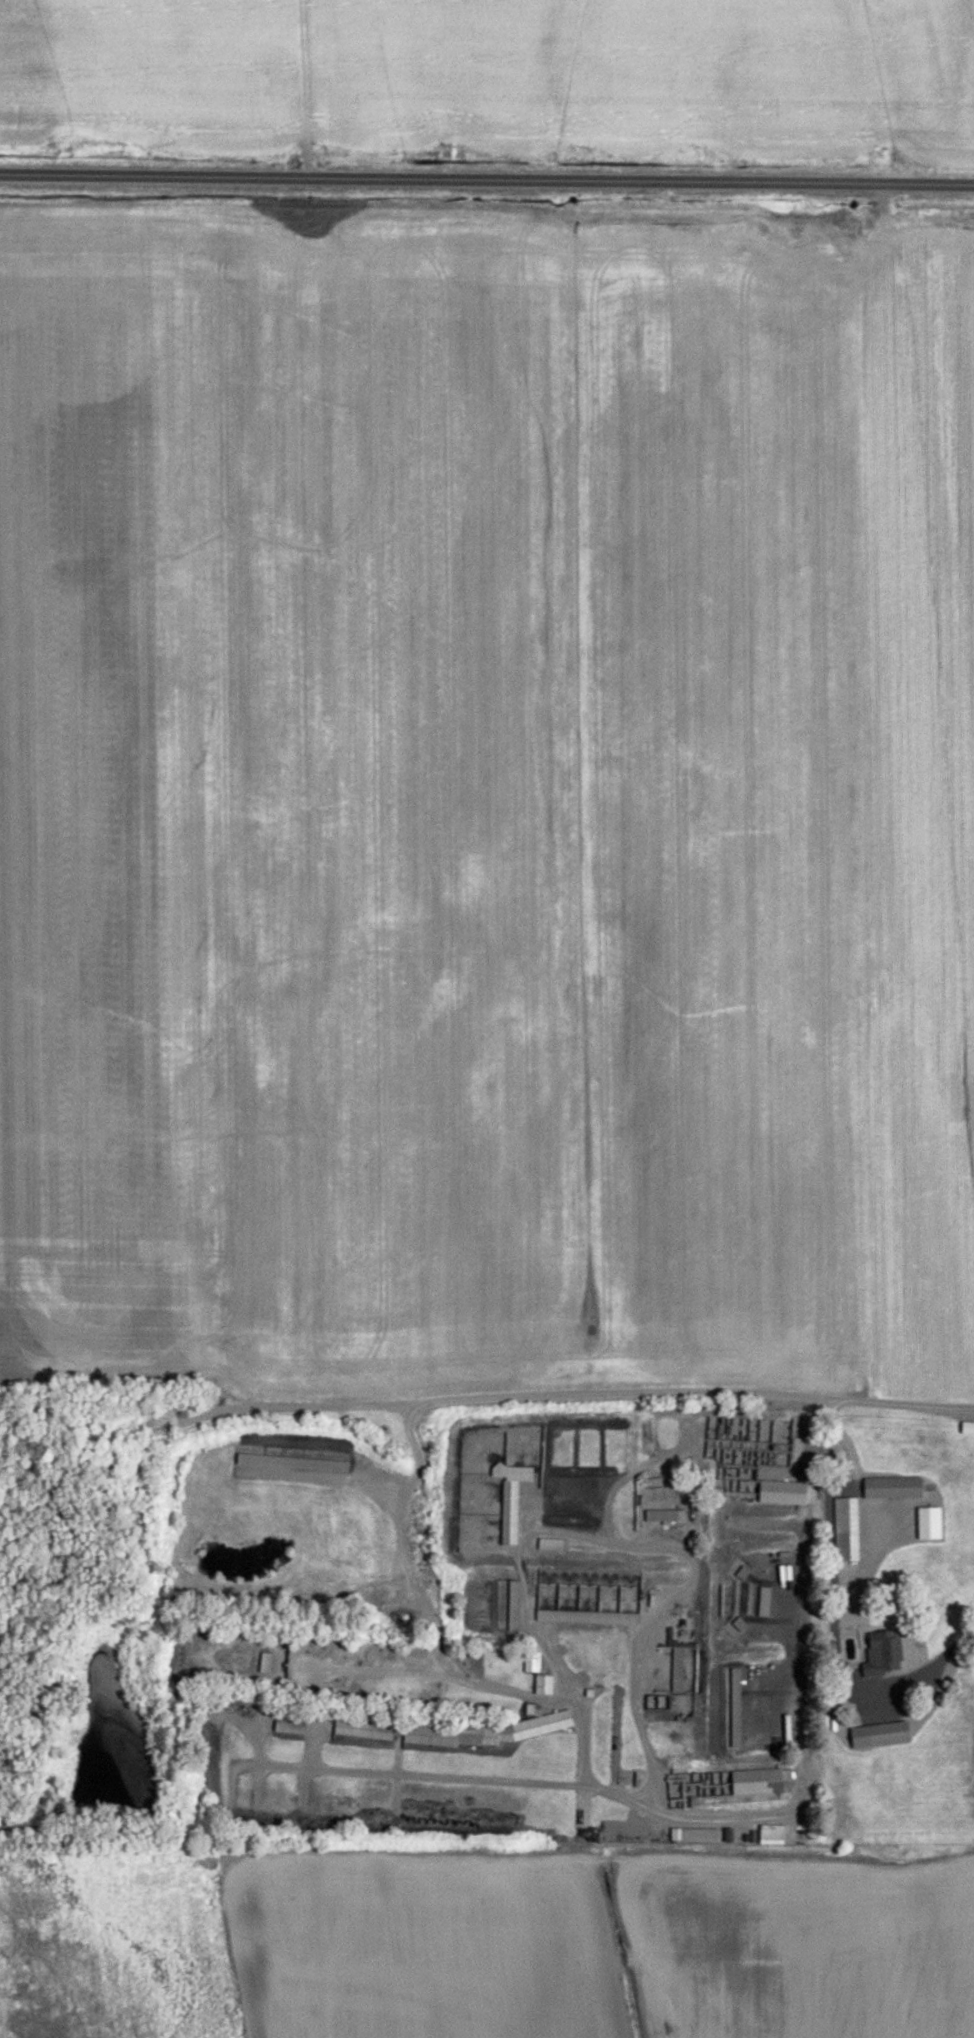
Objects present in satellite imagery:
road: (487, 180)
road: (622, 1391)
building: (968, 1427)
building: (293, 1462)
building: (894, 1487)
building: (785, 1492)
building: (496, 1496)
building: (847, 1529)
building: (549, 1544)
building: (578, 1589)
building: (766, 1601)
building: (515, 1605)
building: (885, 1653)
building: (266, 1661)
road: (931, 1666)
building: (545, 1684)
building: (737, 1707)
building: (291, 1722)
building: (364, 1728)
building: (882, 1734)
road: (581, 1740)
road: (384, 1771)
building: (760, 1781)

